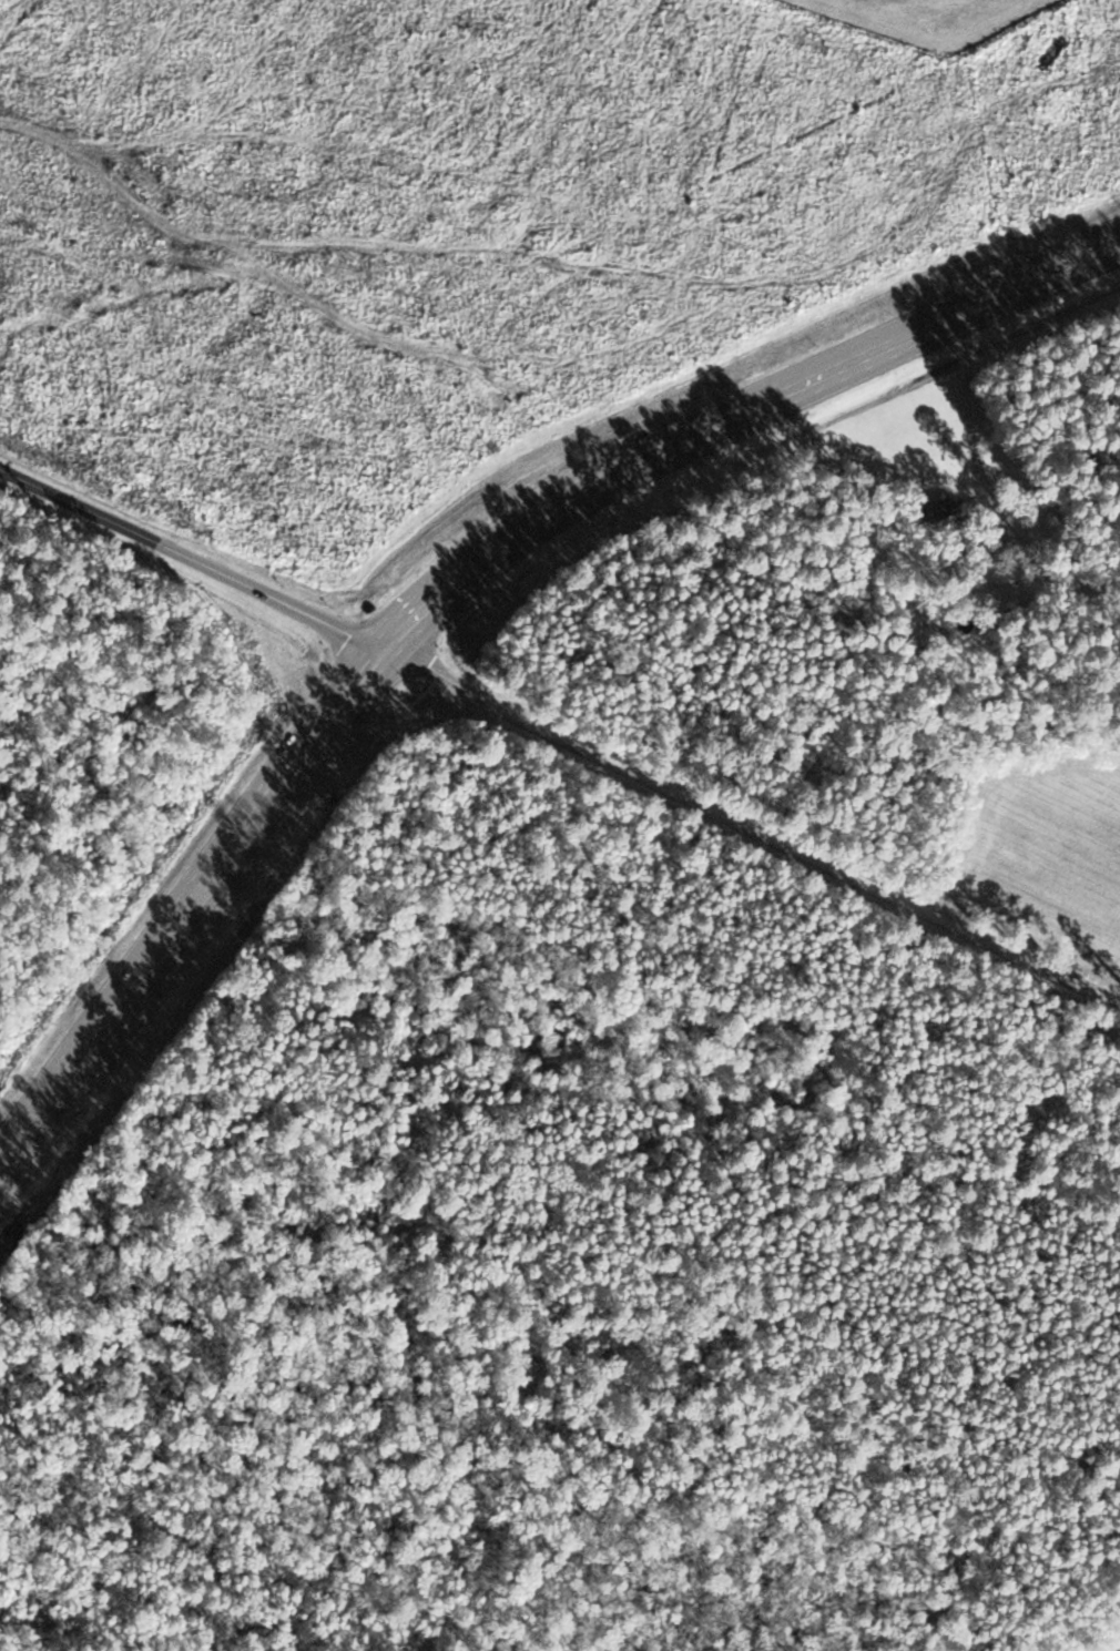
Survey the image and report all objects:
road: (203, 559)
road: (457, 603)
road: (763, 828)

